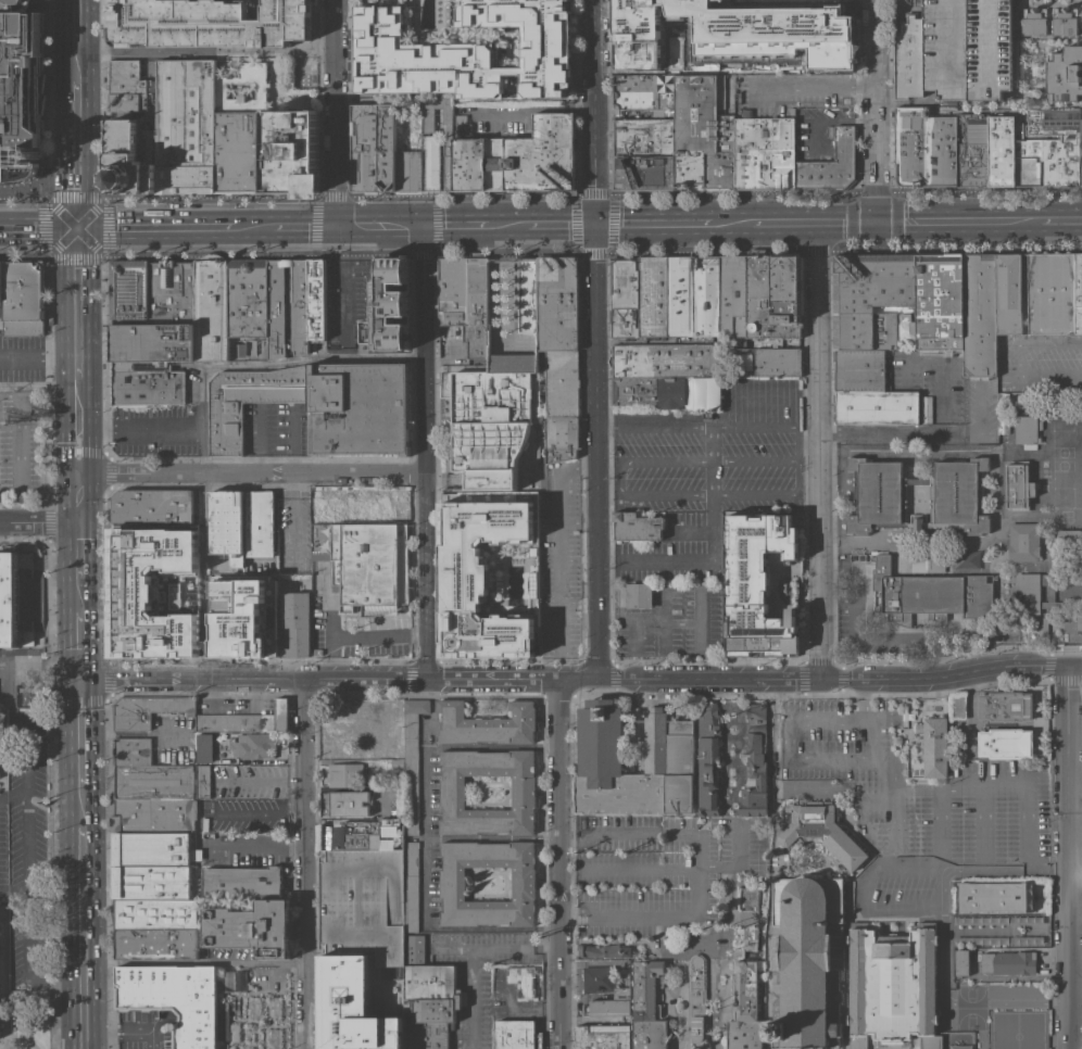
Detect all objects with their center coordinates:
road: (73, 20)
building: (1034, 22)
building: (1065, 22)
building: (209, 23)
road: (74, 45)
road: (204, 50)
building: (465, 50)
building: (955, 50)
road: (74, 55)
road: (74, 69)
building: (1065, 74)
building: (126, 86)
parking lot: (18, 88)
road: (814, 88)
building: (20, 91)
building: (645, 92)
road: (1027, 106)
road: (534, 108)
road: (876, 111)
road: (336, 113)
building: (187, 126)
building: (241, 131)
building: (829, 131)
building: (702, 137)
building: (373, 148)
building: (924, 148)
building: (971, 149)
building: (1002, 150)
building: (1081, 151)
building: (293, 152)
building: (765, 152)
road: (74, 154)
building: (134, 154)
building: (505, 154)
building: (643, 154)
building: (1046, 155)
building: (832, 164)
building: (418, 167)
road: (984, 188)
road: (873, 189)
road: (482, 195)
road: (75, 198)
road: (22, 199)
road: (951, 222)
road: (436, 223)
road: (766, 223)
traffic signals: (876, 223)
road: (655, 224)
road: (473, 225)
road: (562, 225)
traffic signals: (597, 225)
road: (45, 226)
traffic signals: (75, 226)
road: (105, 226)
road: (378, 226)
traffic signals: (420, 226)
road: (205, 227)
traffic signals: (336, 227)
road: (37, 228)
traffic signals: (75, 228)
road: (593, 250)
road: (23, 255)
road: (76, 255)
building: (1, 282)
building: (624, 282)
building: (759, 286)
road: (343, 288)
building: (787, 288)
road: (75, 290)
building: (452, 290)
building: (172, 291)
building: (129, 292)
building: (1052, 292)
building: (1008, 293)
building: (1024, 293)
building: (1079, 293)
building: (528, 295)
building: (732, 295)
building: (247, 296)
building: (653, 296)
building: (680, 296)
building: (705, 296)
building: (23, 298)
building: (316, 300)
building: (276, 301)
building: (940, 301)
building: (873, 302)
building: (559, 303)
building: (477, 305)
building: (211, 307)
building: (390, 307)
building: (980, 314)
building: (622, 321)
building: (773, 329)
road: (597, 339)
building: (153, 342)
building: (238, 349)
road: (37, 353)
parking lot: (21, 357)
building: (664, 359)
road: (1045, 361)
building: (777, 362)
parking lot: (1041, 364)
building: (141, 366)
road: (75, 370)
road: (37, 387)
building: (148, 388)
building: (726, 388)
building: (651, 391)
building: (869, 391)
building: (1005, 395)
building: (249, 401)
building: (1026, 402)
building: (562, 403)
road: (75, 407)
building: (926, 408)
building: (358, 409)
building: (491, 420)
parking lot: (165, 424)
road: (138, 426)
road: (201, 427)
road: (710, 428)
building: (1027, 429)
road: (919, 430)
road: (259, 440)
parking lot: (22, 447)
road: (75, 450)
road: (821, 450)
road: (424, 452)
road: (755, 459)
road: (250, 473)
road: (620, 477)
building: (1018, 485)
building: (880, 491)
road: (784, 494)
road: (76, 497)
building: (152, 505)
building: (324, 506)
building: (376, 506)
road: (38, 521)
building: (260, 522)
building: (227, 524)
power substation: (227, 524)
building: (638, 526)
building: (1069, 539)
building: (1023, 542)
road: (712, 543)
building: (188, 563)
building: (366, 564)
road: (562, 566)
building: (488, 577)
building: (758, 584)
building: (1036, 585)
building: (140, 587)
building: (1070, 587)
building: (930, 590)
building: (639, 595)
building: (14, 598)
road: (76, 598)
building: (343, 601)
parking lot: (671, 612)
building: (1079, 621)
building: (294, 622)
building: (1044, 625)
road: (358, 636)
road: (859, 639)
road: (1066, 642)
building: (165, 644)
building: (317, 652)
road: (563, 666)
traffic signals: (1065, 666)
road: (1073, 666)
traffic signals: (77, 675)
road: (570, 678)
building: (22, 696)
road: (783, 697)
building: (959, 705)
building: (1005, 706)
building: (146, 711)
building: (37, 716)
building: (247, 720)
building: (487, 723)
building: (342, 728)
building: (232, 734)
building: (381, 735)
building: (1005, 743)
building: (255, 745)
building: (934, 745)
building: (204, 747)
building: (133, 750)
building: (708, 757)
building: (668, 758)
road: (785, 758)
building: (412, 760)
building: (754, 762)
building: (398, 764)
building: (344, 774)
building: (161, 781)
road: (12, 786)
road: (960, 786)
building: (452, 792)
park: (973, 797)
building: (350, 804)
road: (261, 813)
building: (152, 814)
building: (816, 827)
road: (977, 827)
road: (1026, 827)
road: (939, 831)
road: (567, 834)
road: (637, 834)
building: (363, 835)
road: (425, 836)
road: (492, 837)
road: (260, 850)
road: (1065, 857)
building: (855, 859)
road: (78, 861)
road: (307, 862)
road: (559, 862)
road: (737, 862)
building: (148, 864)
road: (959, 869)
road: (1021, 869)
road: (636, 870)
road: (567, 873)
building: (242, 881)
building: (452, 884)
building: (411, 885)
road: (864, 888)
road: (12, 890)
building: (995, 896)
road: (25, 906)
building: (750, 914)
road: (684, 915)
building: (156, 928)
building: (251, 928)
building: (360, 943)
road: (496, 947)
building: (415, 949)
building: (605, 950)
road: (590, 962)
building: (806, 962)
building: (960, 962)
building: (1008, 962)
building: (238, 981)
building: (521, 981)
building: (893, 986)
building: (605, 990)
road: (942, 995)
road: (473, 998)
building: (174, 999)
building: (458, 999)
building: (696, 1003)
building: (428, 1006)
building: (647, 1006)
building: (254, 1007)
building: (274, 1007)
building: (744, 1007)
road: (1073, 1012)
building: (223, 1024)
road: (125, 1031)
building: (235, 1032)
building: (516, 1034)
building: (603, 1037)
building: (274, 1038)

